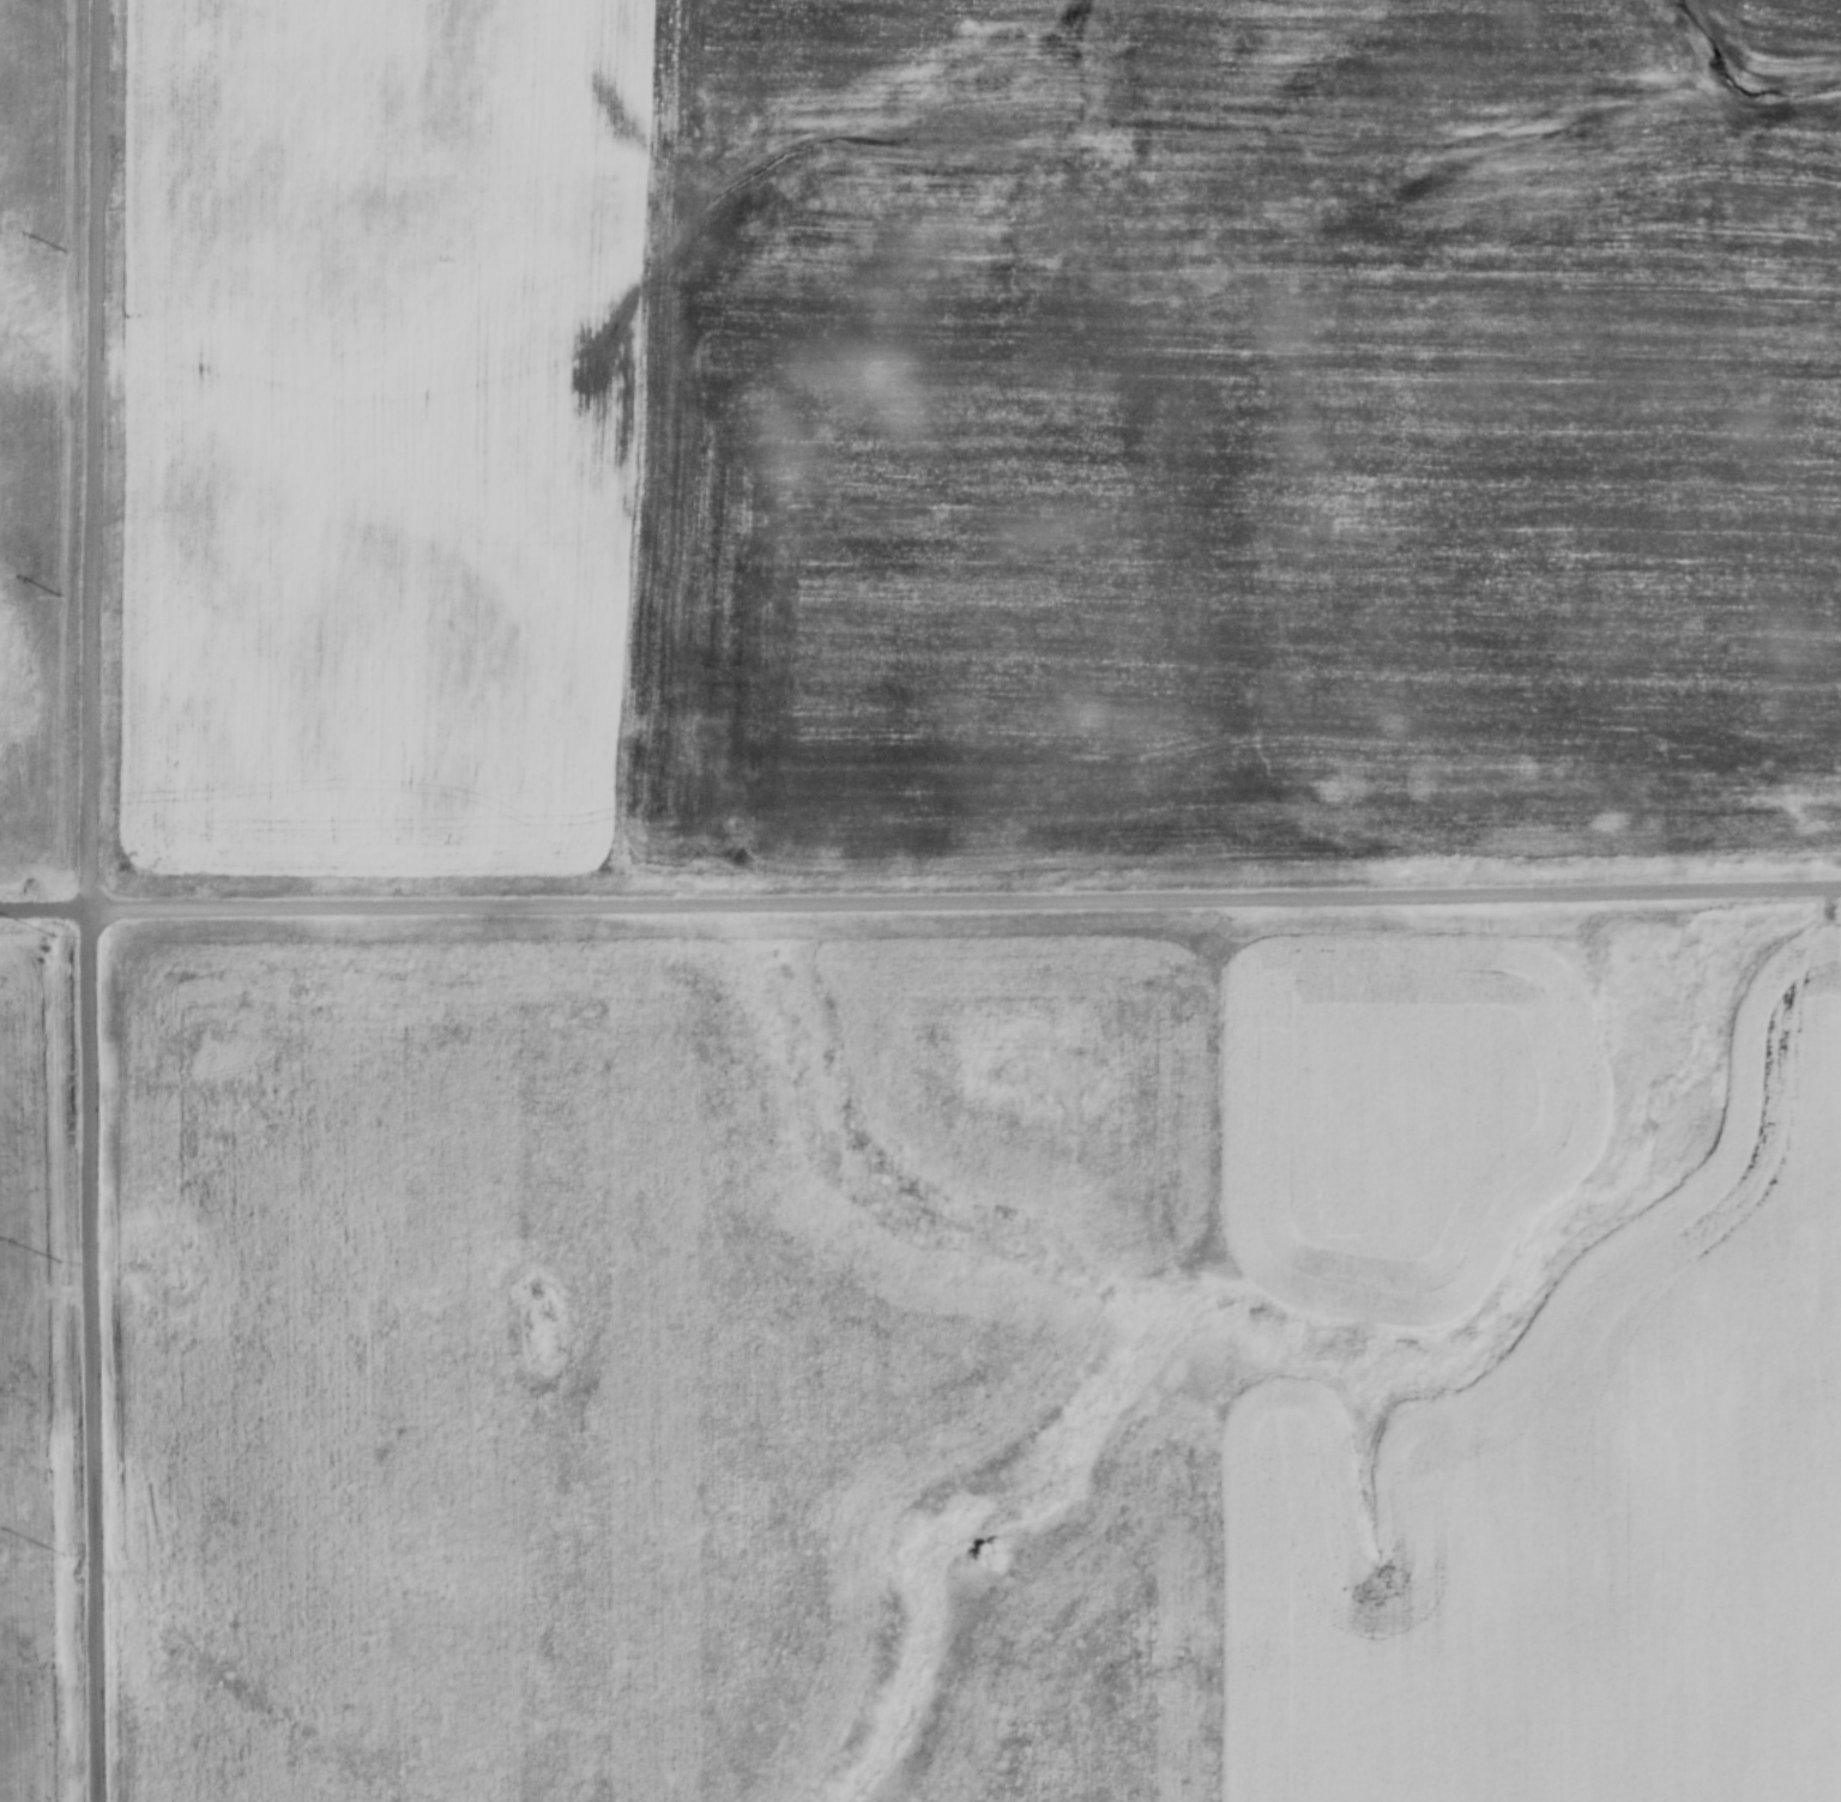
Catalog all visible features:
road: (920, 897)
road: (90, 900)

